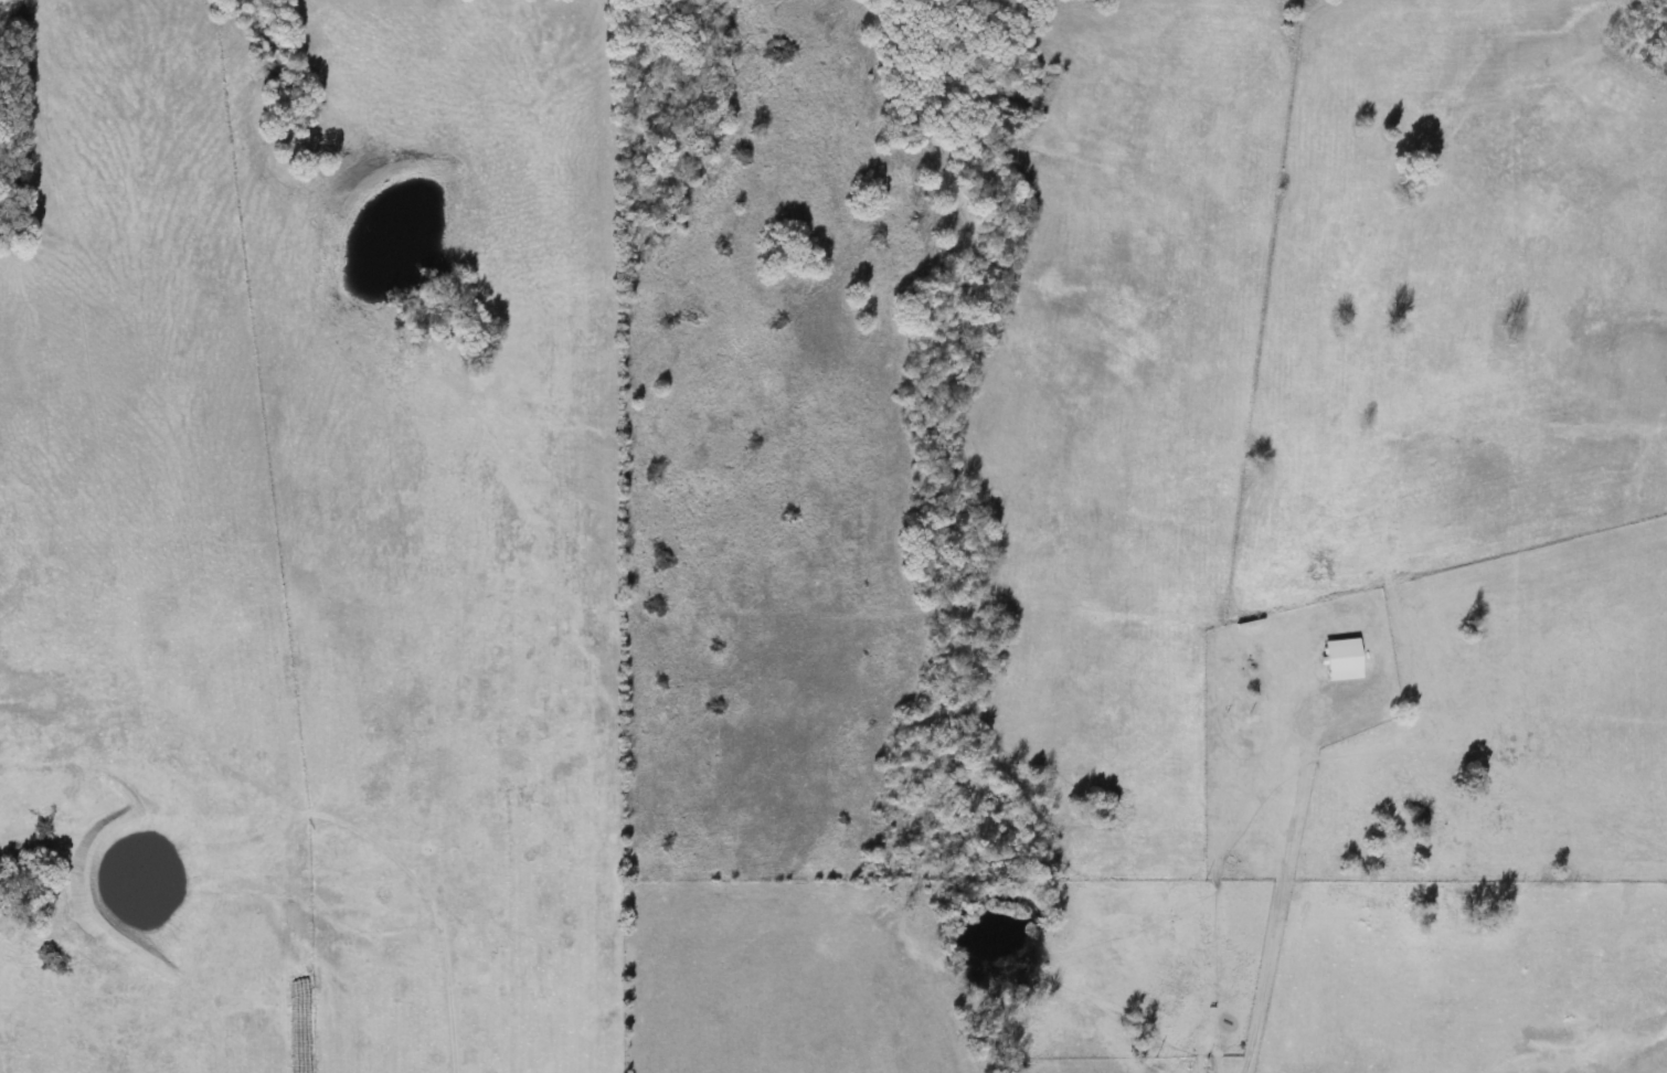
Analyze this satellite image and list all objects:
building: (1340, 662)

